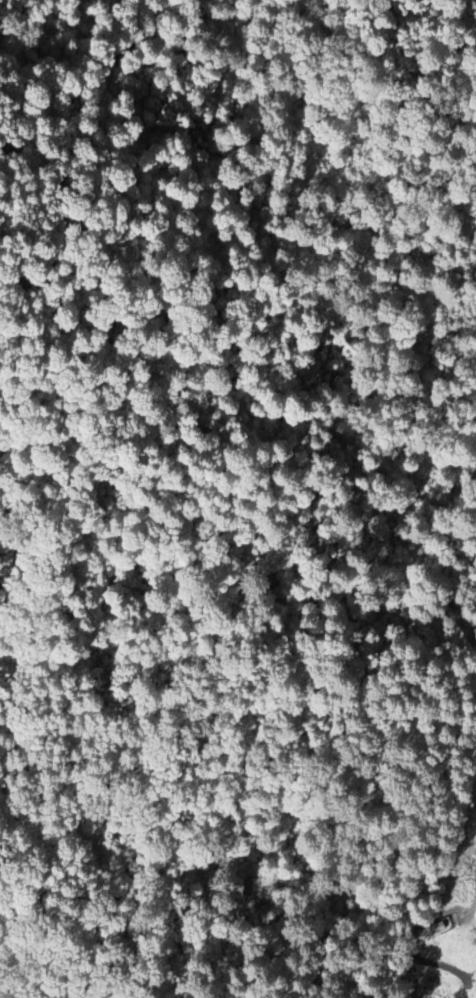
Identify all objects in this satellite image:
building: (434, 928)

